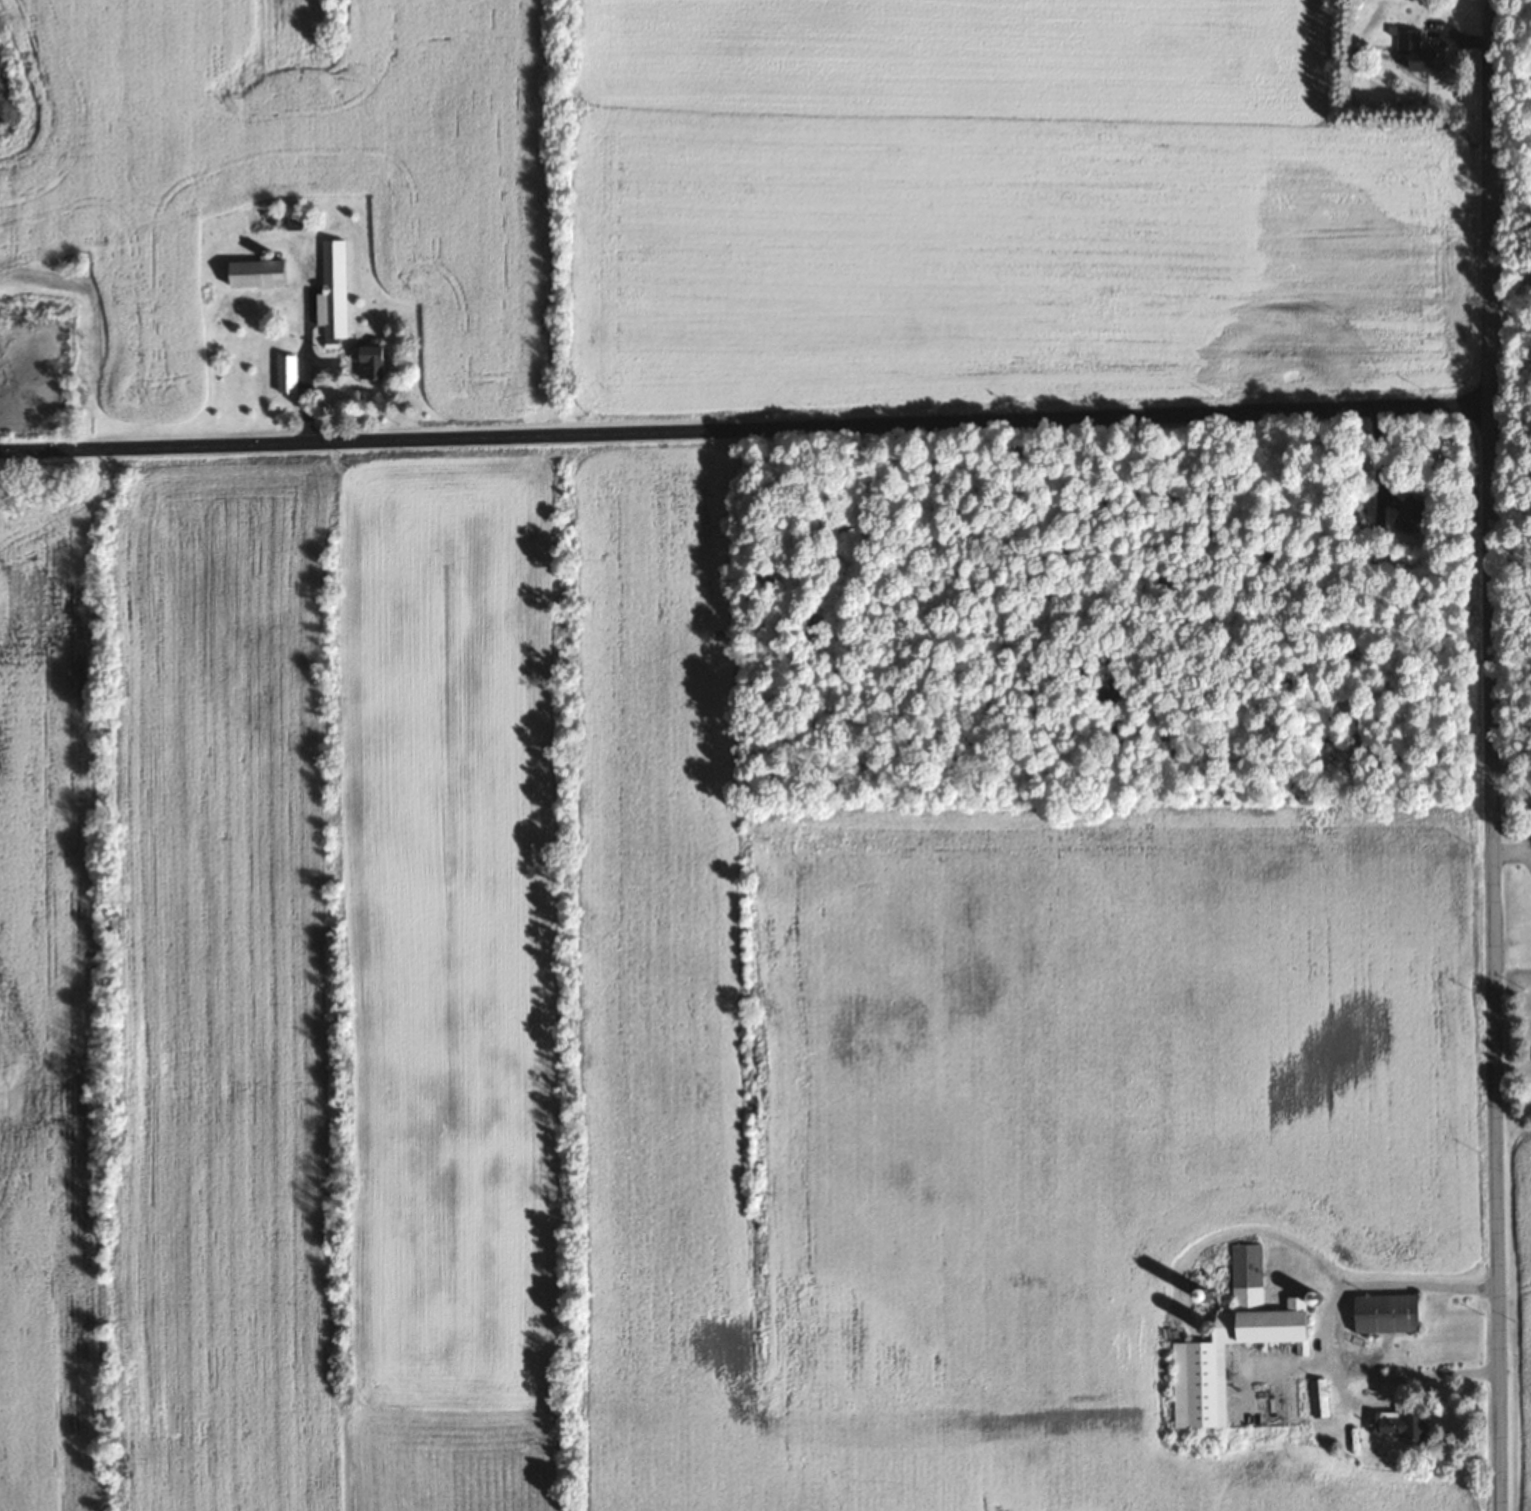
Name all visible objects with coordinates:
building: (1413, 52)
road: (1510, 170)
building: (264, 272)
building: (333, 290)
building: (371, 362)
building: (286, 372)
road: (745, 430)
building: (1406, 513)
road: (1493, 755)
building: (1381, 1312)
building: (1230, 1340)
building: (1319, 1397)
building: (1392, 1422)

